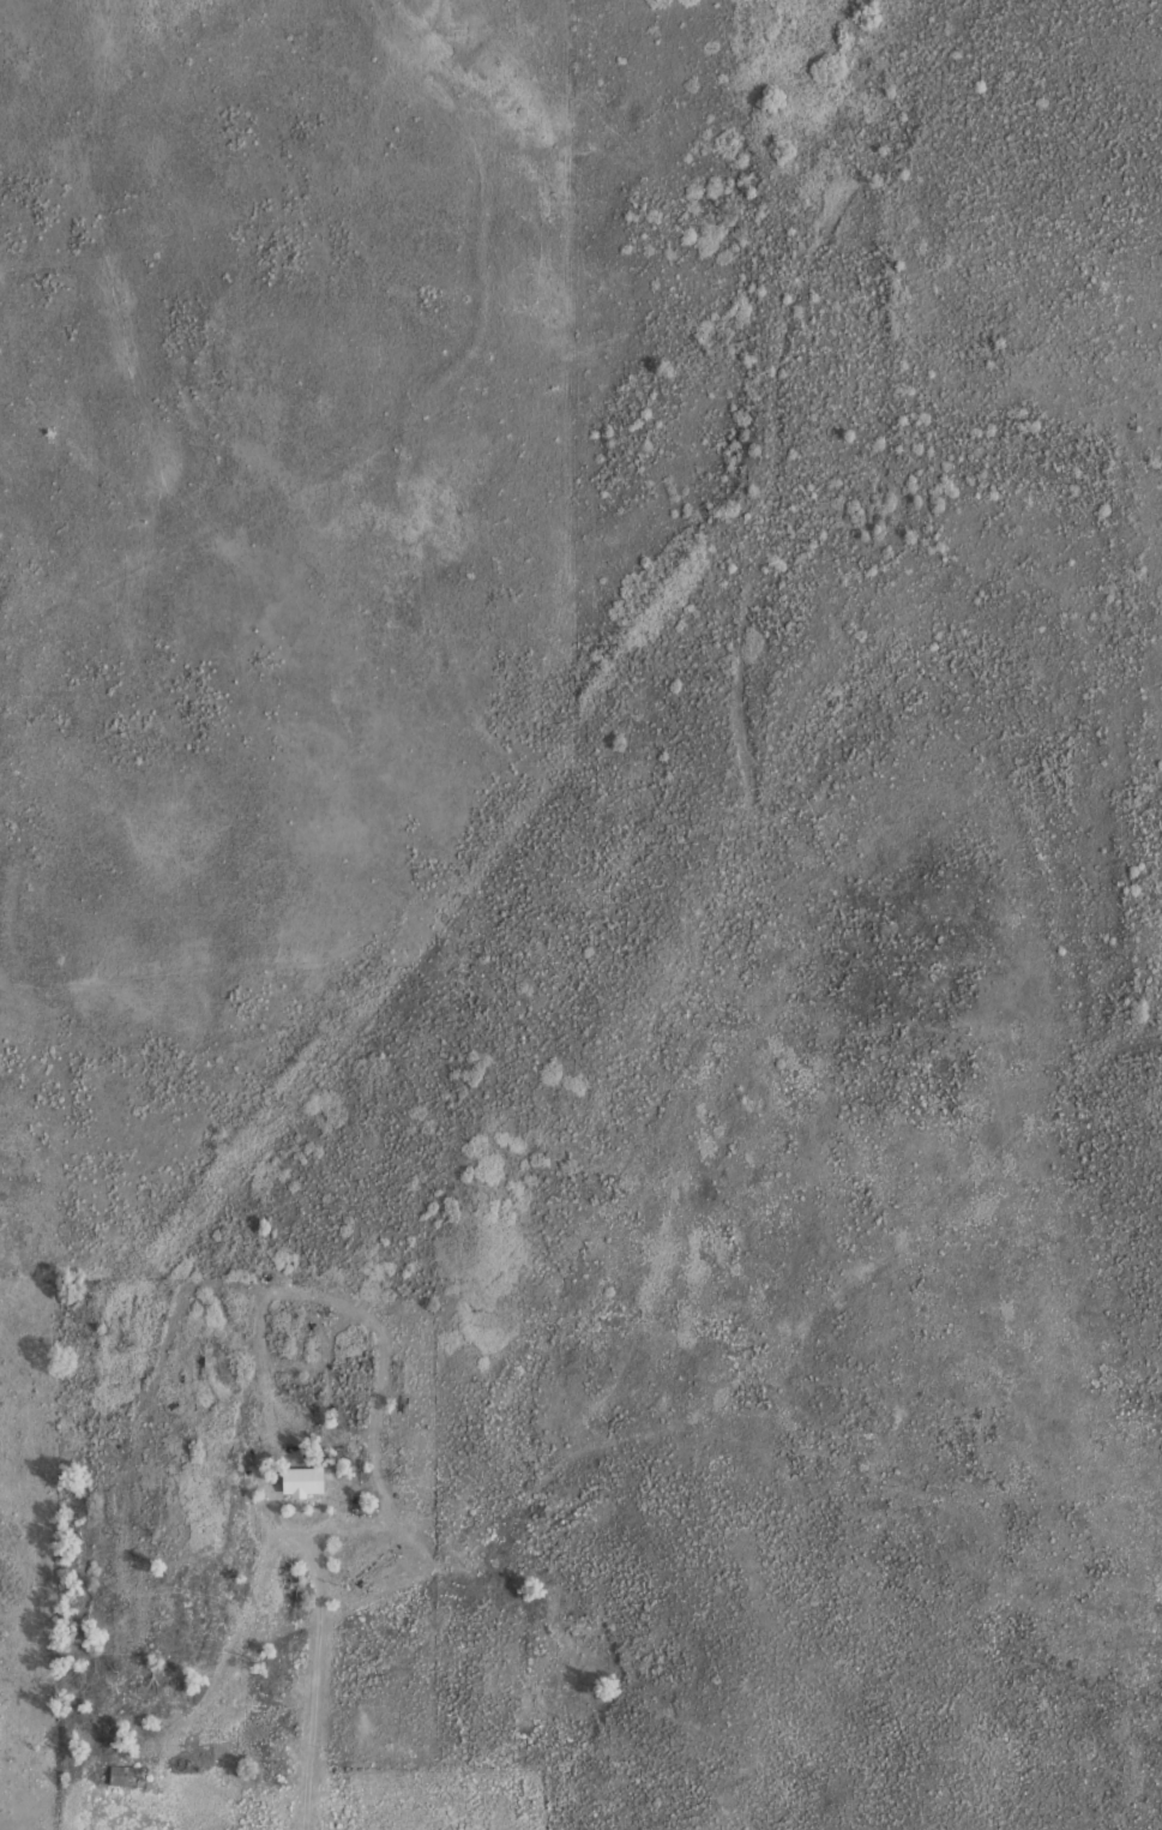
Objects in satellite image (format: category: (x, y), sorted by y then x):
building: (306, 1482)
road: (305, 1690)
building: (130, 1775)

